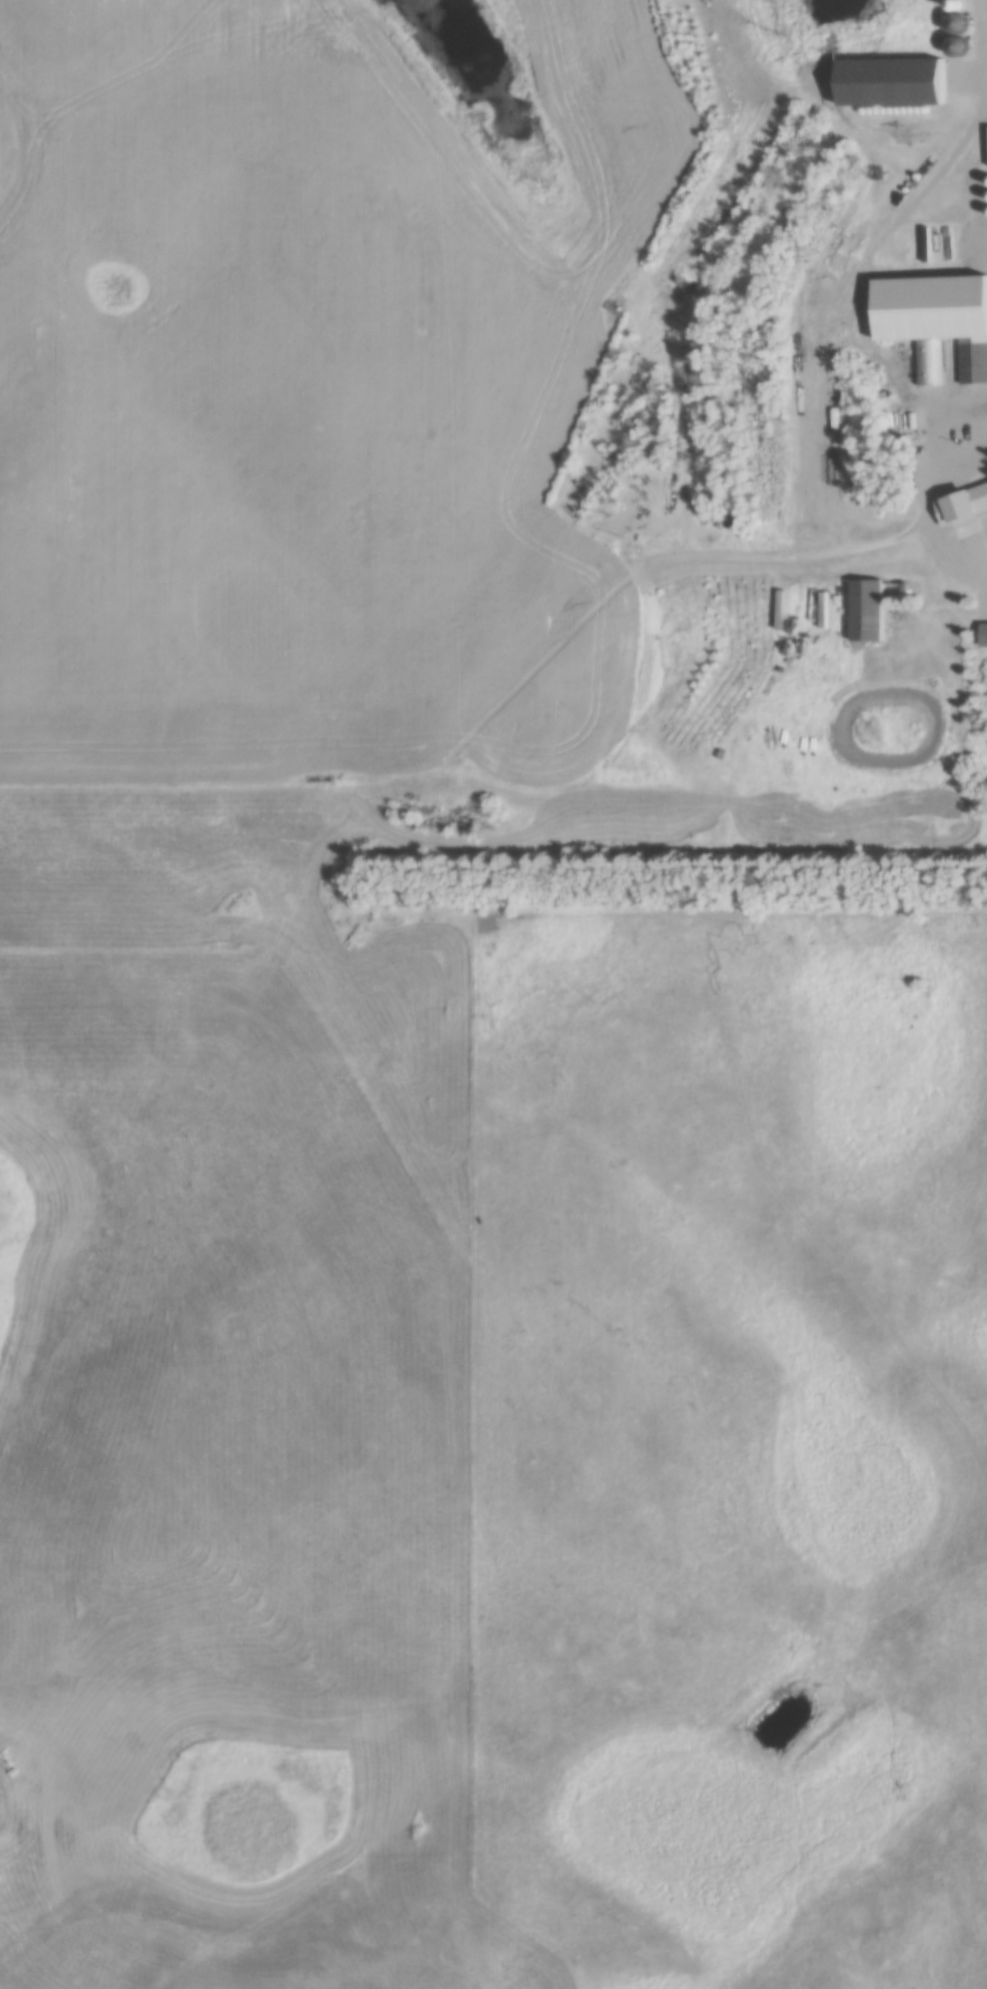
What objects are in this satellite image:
building: (901, 84)
building: (846, 317)
building: (926, 365)
building: (974, 365)
building: (971, 505)
road: (935, 519)
building: (871, 614)

